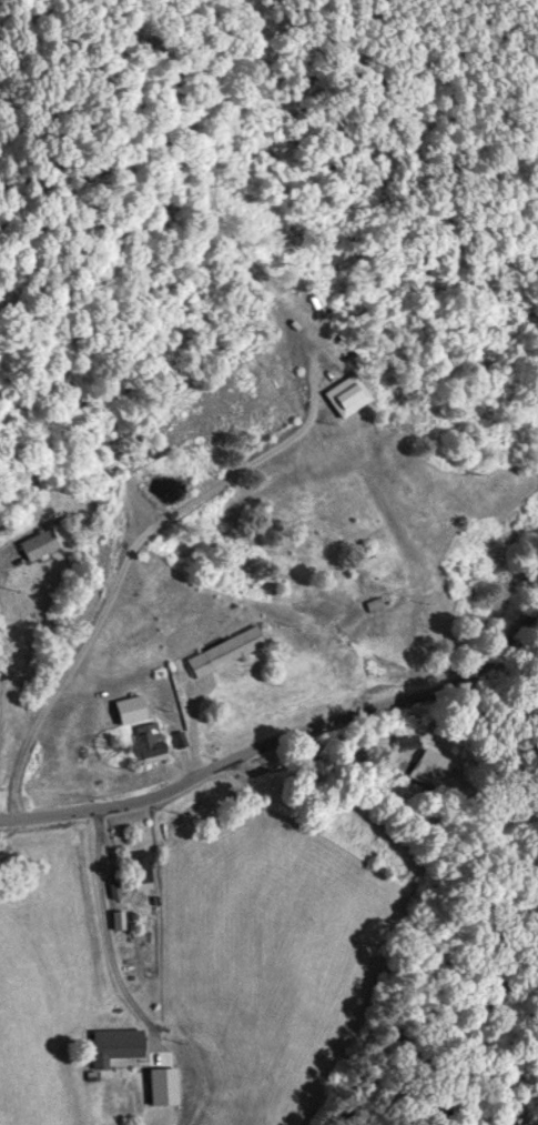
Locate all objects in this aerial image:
building: (223, 651)
road: (282, 734)
building: (149, 742)
building: (429, 767)
building: (140, 870)
building: (116, 920)
building: (113, 1045)
building: (161, 1086)

